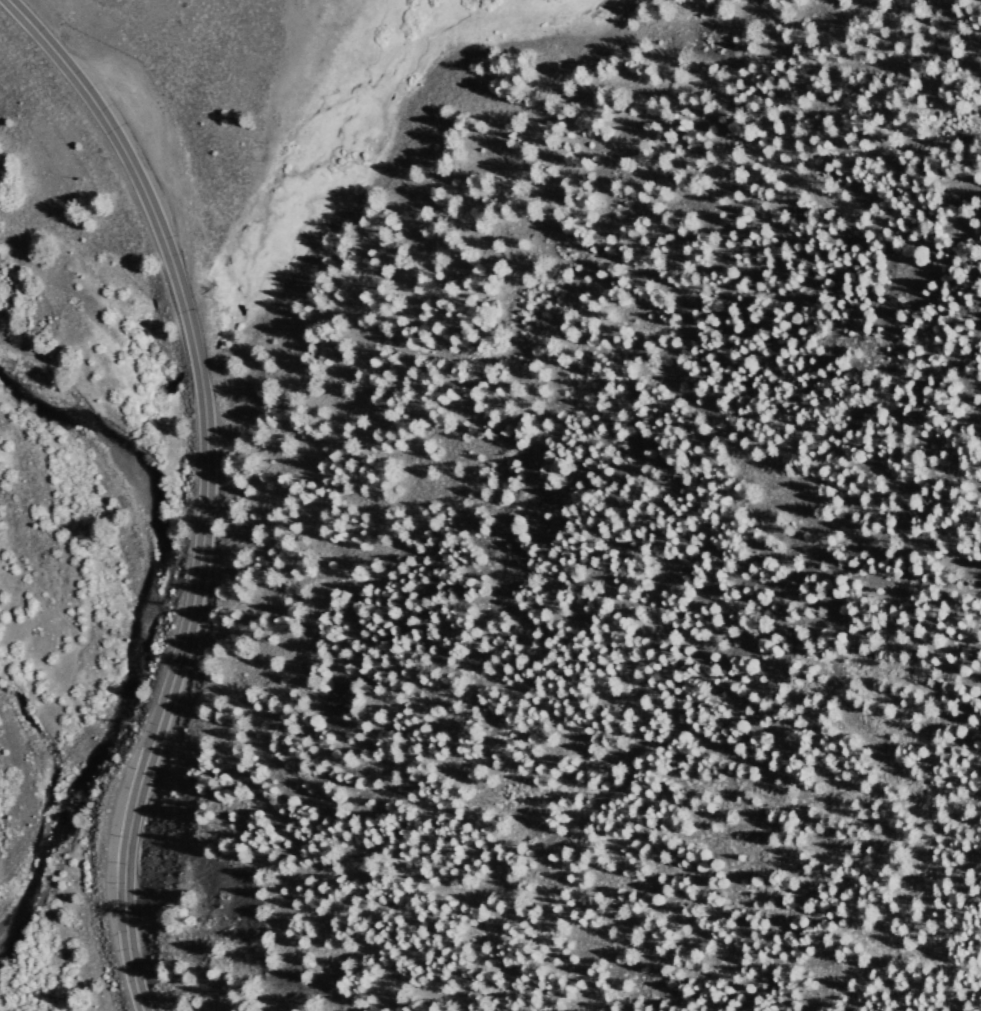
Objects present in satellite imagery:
parking lot: (136, 136)
road: (207, 484)
river: (161, 611)

